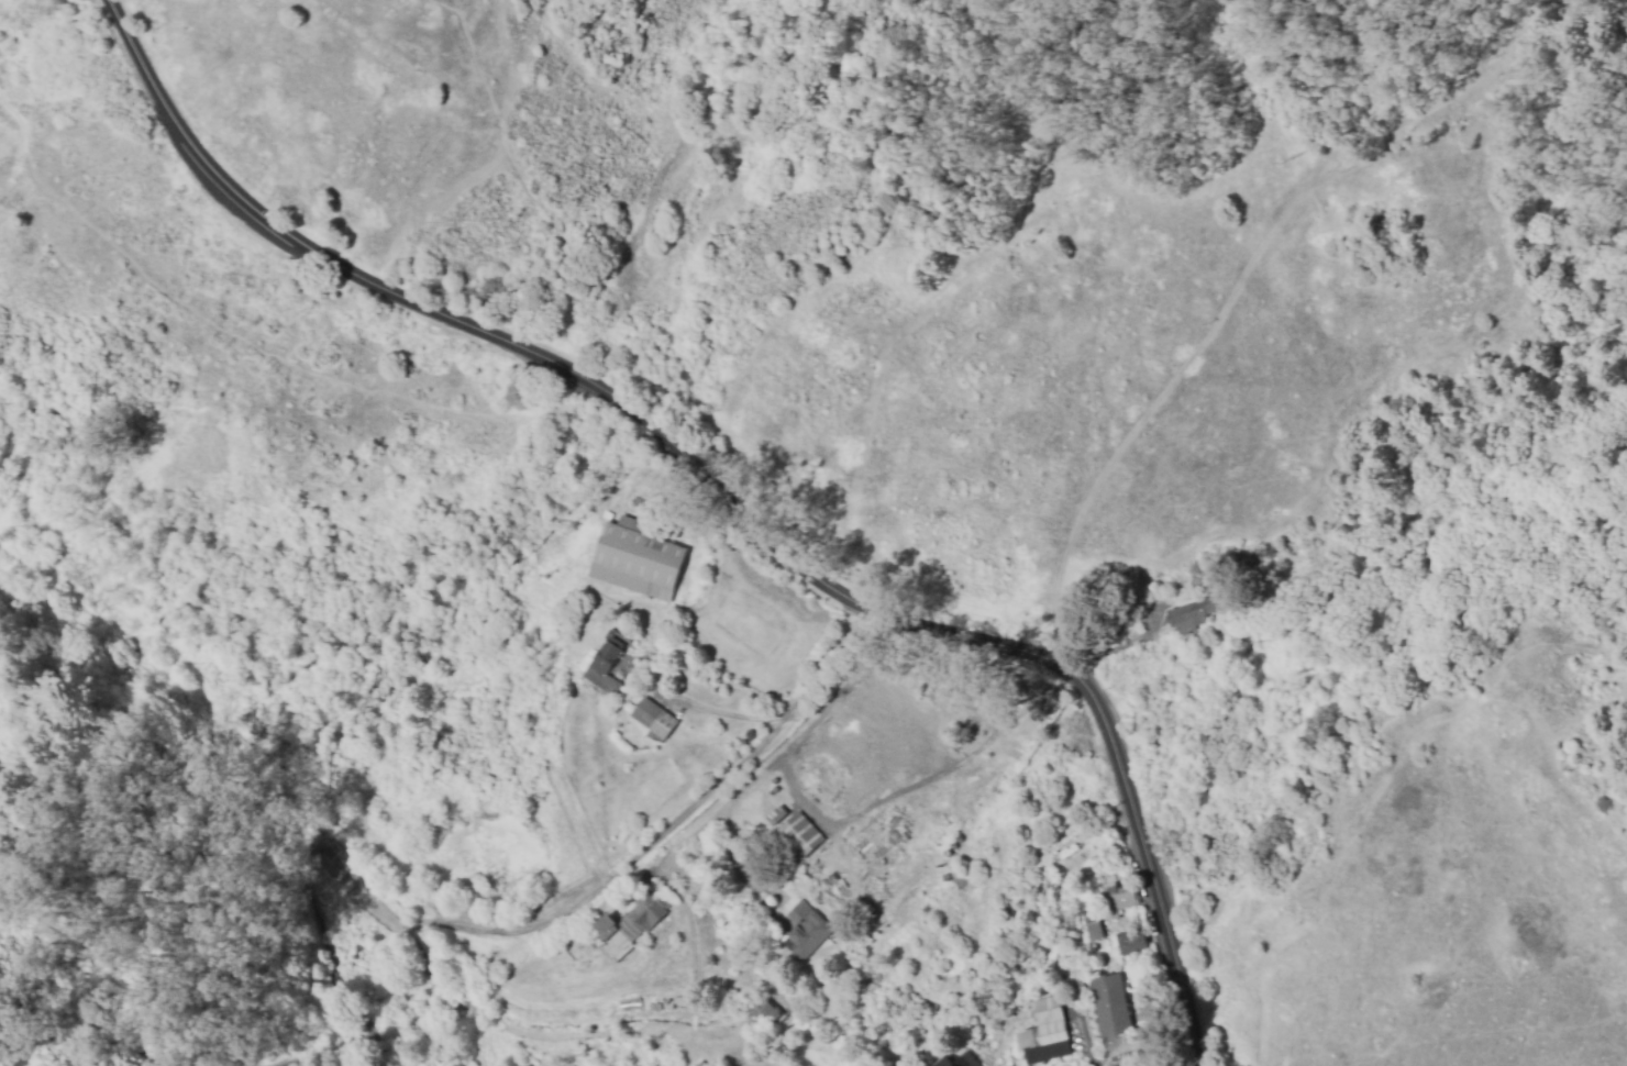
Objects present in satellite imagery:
road: (455, 1)
road: (541, 202)
road: (252, 345)
road: (723, 493)
building: (635, 560)
building: (1191, 614)
building: (606, 663)
road: (829, 677)
building: (653, 718)
building: (776, 815)
building: (799, 835)
building: (1118, 898)
building: (629, 924)
building: (1091, 924)
building: (804, 931)
building: (1129, 943)
building: (1107, 1006)
building: (1043, 1033)
building: (958, 1061)

